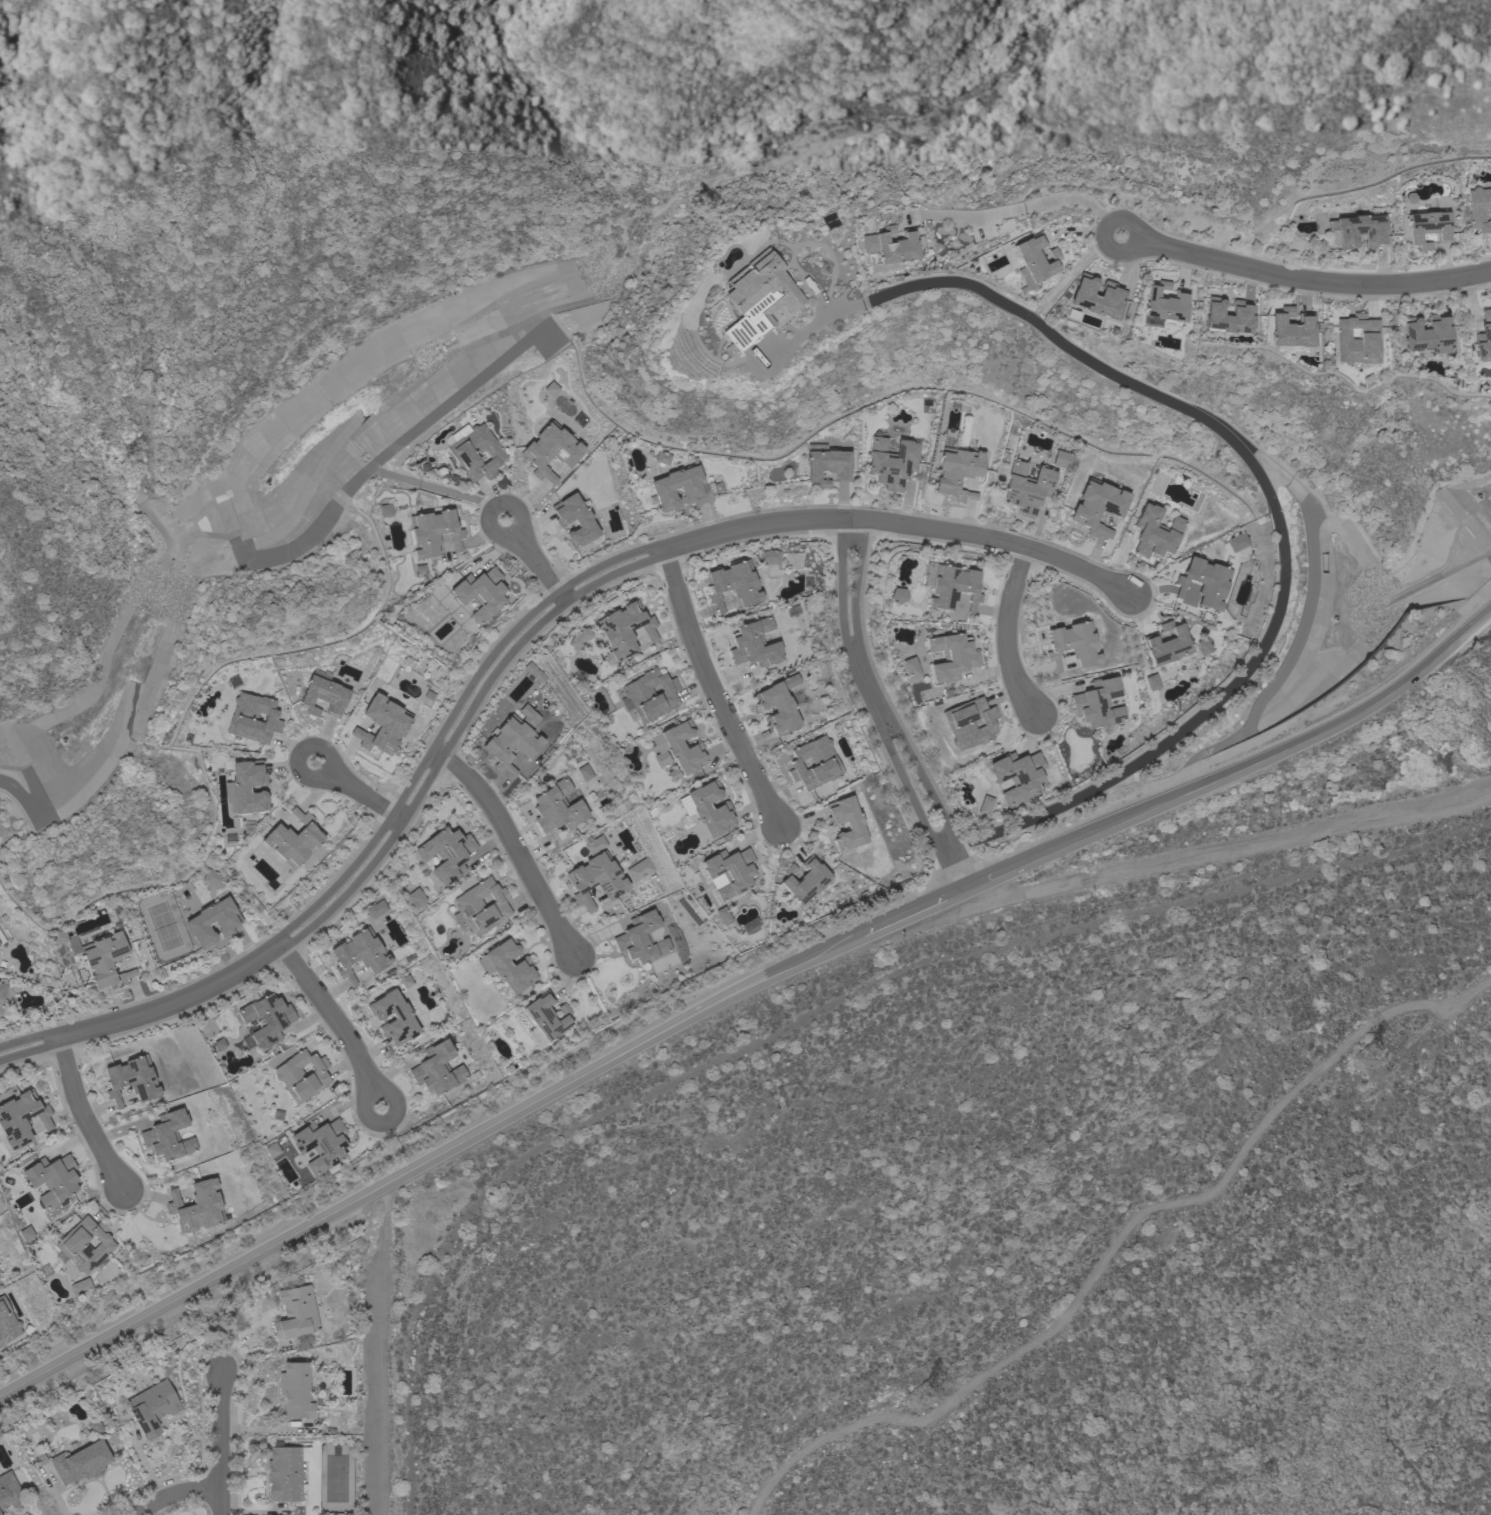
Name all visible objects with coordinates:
road: (1033, 205)
building: (1479, 210)
building: (1428, 228)
building: (1359, 231)
building: (893, 246)
building: (1035, 258)
road: (1307, 277)
building: (1111, 296)
building: (749, 299)
building: (1165, 304)
building: (1227, 317)
building: (1290, 330)
building: (1427, 334)
building: (1483, 338)
building: (1357, 340)
building: (550, 389)
building: (550, 451)
building: (476, 454)
building: (661, 457)
building: (1061, 459)
building: (891, 463)
road: (1251, 466)
building: (828, 467)
building: (957, 473)
building: (1027, 488)
building: (692, 489)
road: (494, 505)
building: (1097, 507)
building: (383, 510)
building: (575, 521)
building: (433, 532)
building: (1155, 533)
building: (1236, 541)
building: (767, 556)
road: (536, 566)
building: (1204, 583)
building: (733, 585)
building: (949, 586)
building: (480, 594)
building: (896, 595)
road: (847, 624)
road: (524, 631)
building: (623, 631)
road: (1003, 633)
building: (578, 637)
building: (754, 644)
building: (1073, 645)
building: (1166, 645)
building: (1203, 646)
building: (950, 657)
building: (909, 667)
building: (533, 672)
building: (1150, 682)
road: (711, 692)
building: (649, 695)
building: (324, 697)
building: (1098, 704)
building: (777, 707)
building: (253, 718)
building: (969, 724)
building: (382, 725)
building: (513, 739)
road: (114, 748)
building: (679, 748)
road: (298, 753)
building: (814, 763)
road: (1238, 767)
building: (585, 773)
building: (1017, 776)
road: (922, 782)
building: (245, 788)
road: (905, 789)
road: (361, 795)
building: (984, 805)
building: (557, 808)
building: (707, 808)
building: (845, 823)
building: (601, 839)
building: (292, 840)
road: (516, 846)
building: (446, 853)
road: (1210, 853)
building: (631, 868)
road: (953, 868)
building: (729, 872)
building: (213, 878)
building: (595, 879)
building: (804, 880)
building: (414, 897)
building: (480, 907)
building: (375, 909)
road: (906, 911)
building: (722, 916)
building: (212, 922)
building: (749, 925)
building: (1, 939)
building: (642, 939)
building: (359, 954)
building: (99, 957)
building: (507, 965)
building: (405, 982)
building: (2, 990)
road: (328, 1018)
building: (402, 1018)
building: (544, 1019)
building: (264, 1021)
road: (28, 1039)
building: (216, 1044)
road: (29, 1052)
power tower: (1369, 1061)
building: (437, 1069)
building: (301, 1076)
building: (131, 1080)
road: (472, 1112)
road: (82, 1115)
building: (21, 1118)
road: (383, 1123)
building: (167, 1137)
building: (320, 1144)
building: (270, 1150)
road: (423, 1160)
building: (52, 1179)
building: (196, 1207)
building: (85, 1245)
building: (80, 1287)
building: (295, 1313)
road: (178, 1318)
building: (7, 1323)
building: (295, 1391)
power tower: (922, 1401)
building: (152, 1408)
building: (95, 1427)
road: (219, 1442)
building: (80, 1463)
building: (285, 1473)
building: (9, 1491)
road: (172, 1496)

